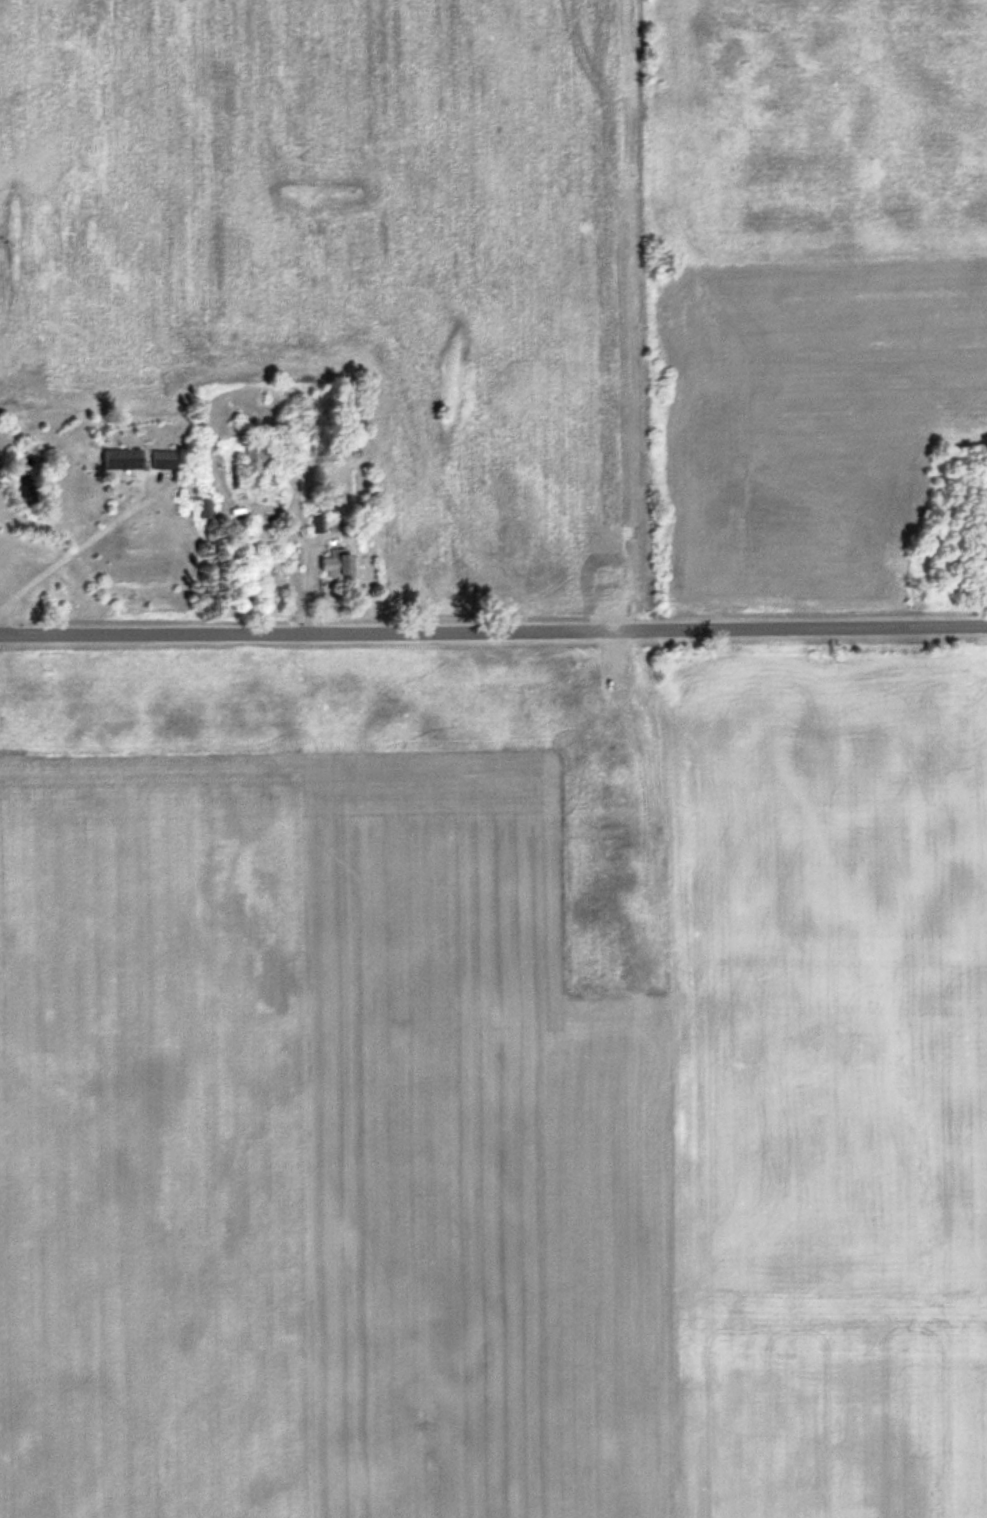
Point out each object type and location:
building: (123, 457)
building: (164, 457)
building: (244, 468)
building: (205, 509)
building: (318, 521)
road: (71, 551)
building: (338, 560)
road: (493, 626)

